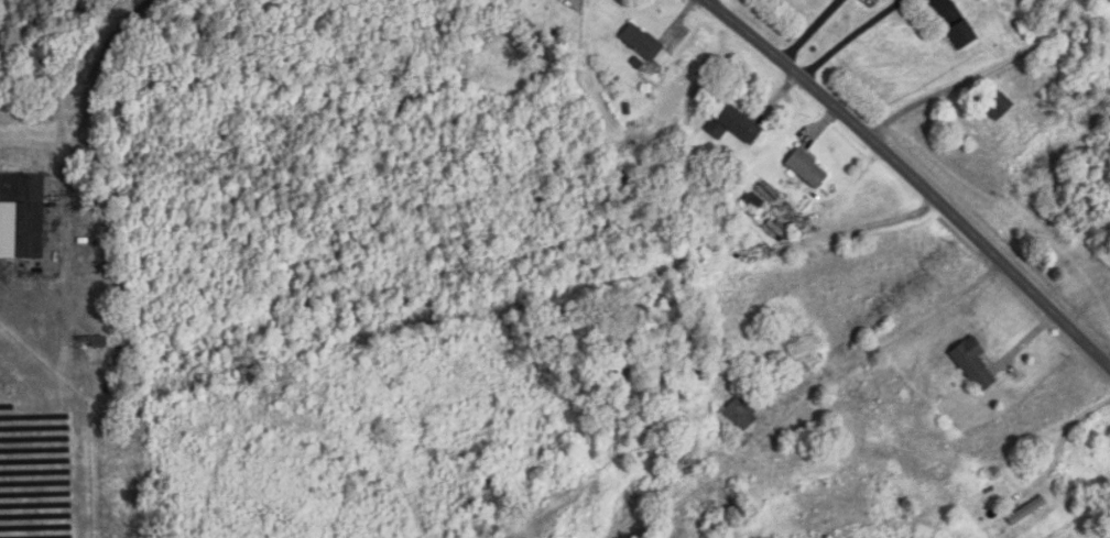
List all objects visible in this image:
building: (964, 36)
building: (647, 47)
road: (94, 75)
road: (973, 76)
building: (1001, 108)
building: (734, 124)
building: (808, 168)
road: (913, 176)
building: (22, 217)
building: (94, 342)
building: (975, 364)
building: (741, 416)
building: (1029, 512)

